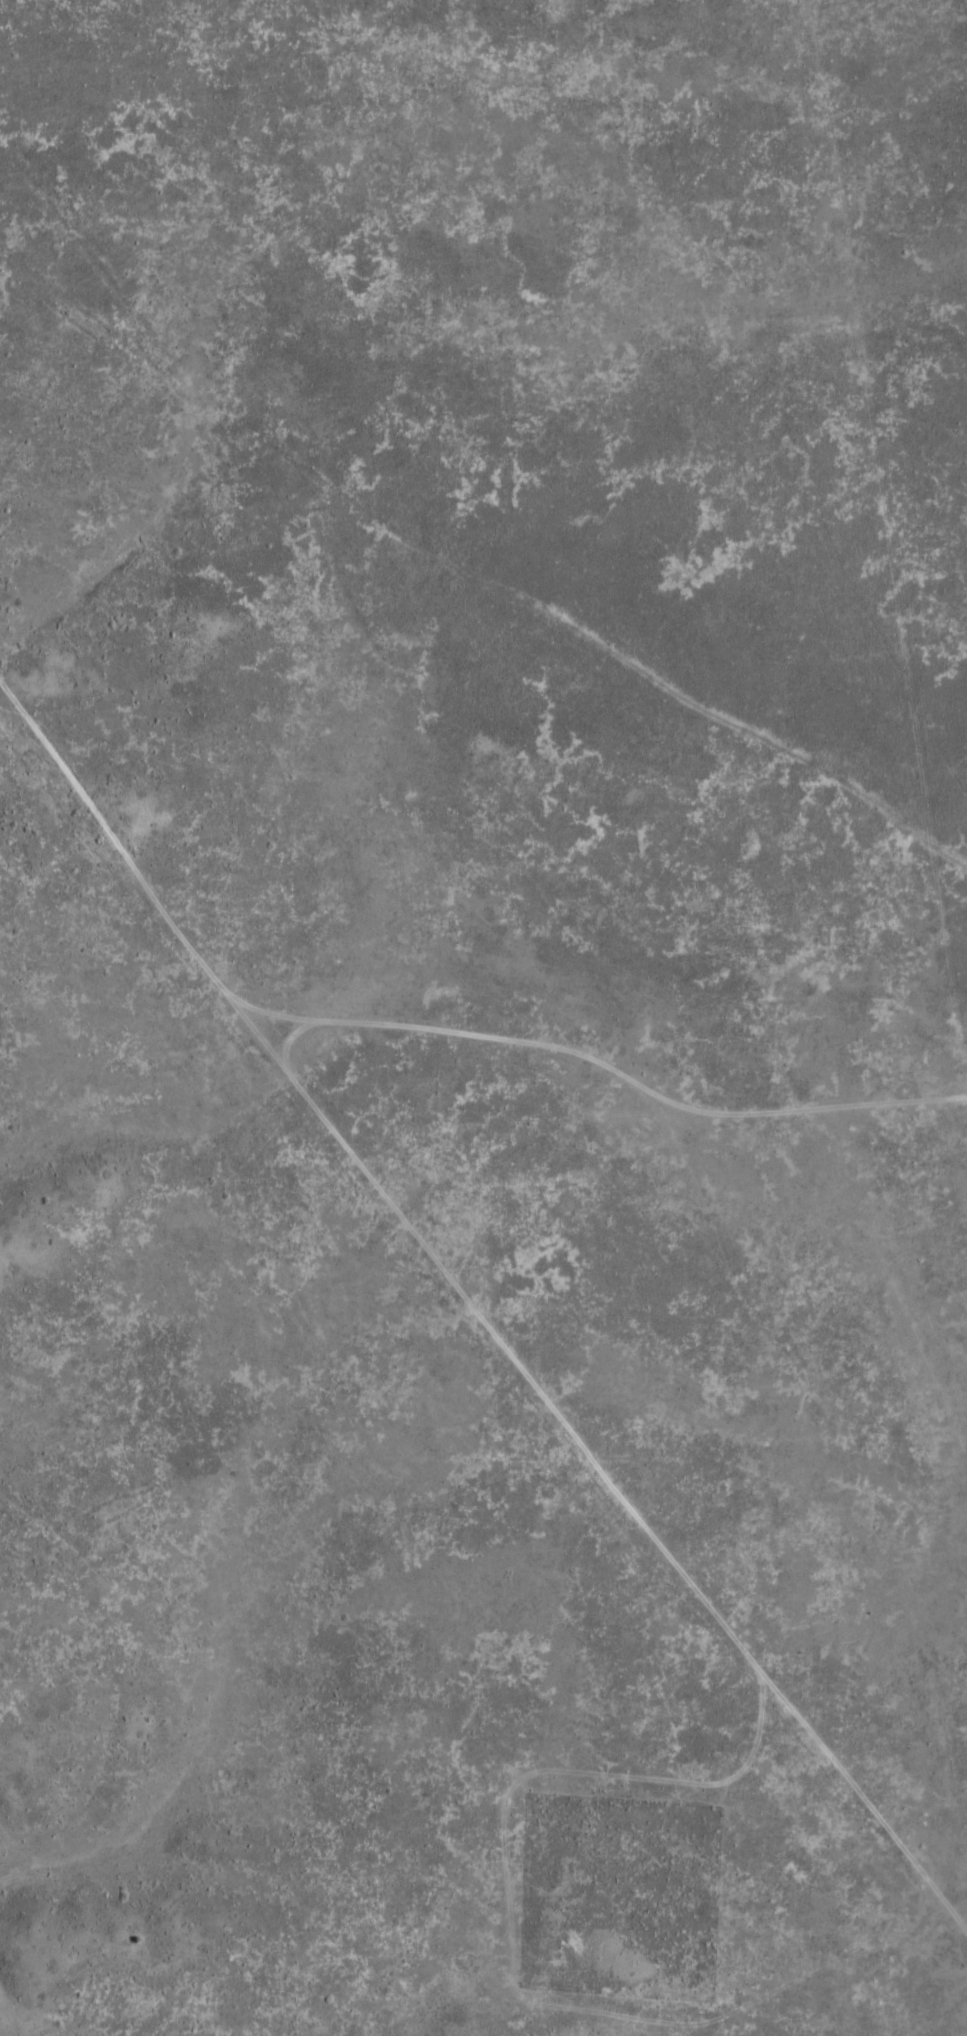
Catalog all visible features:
road: (604, 1090)
road: (481, 1326)
park: (619, 1895)

